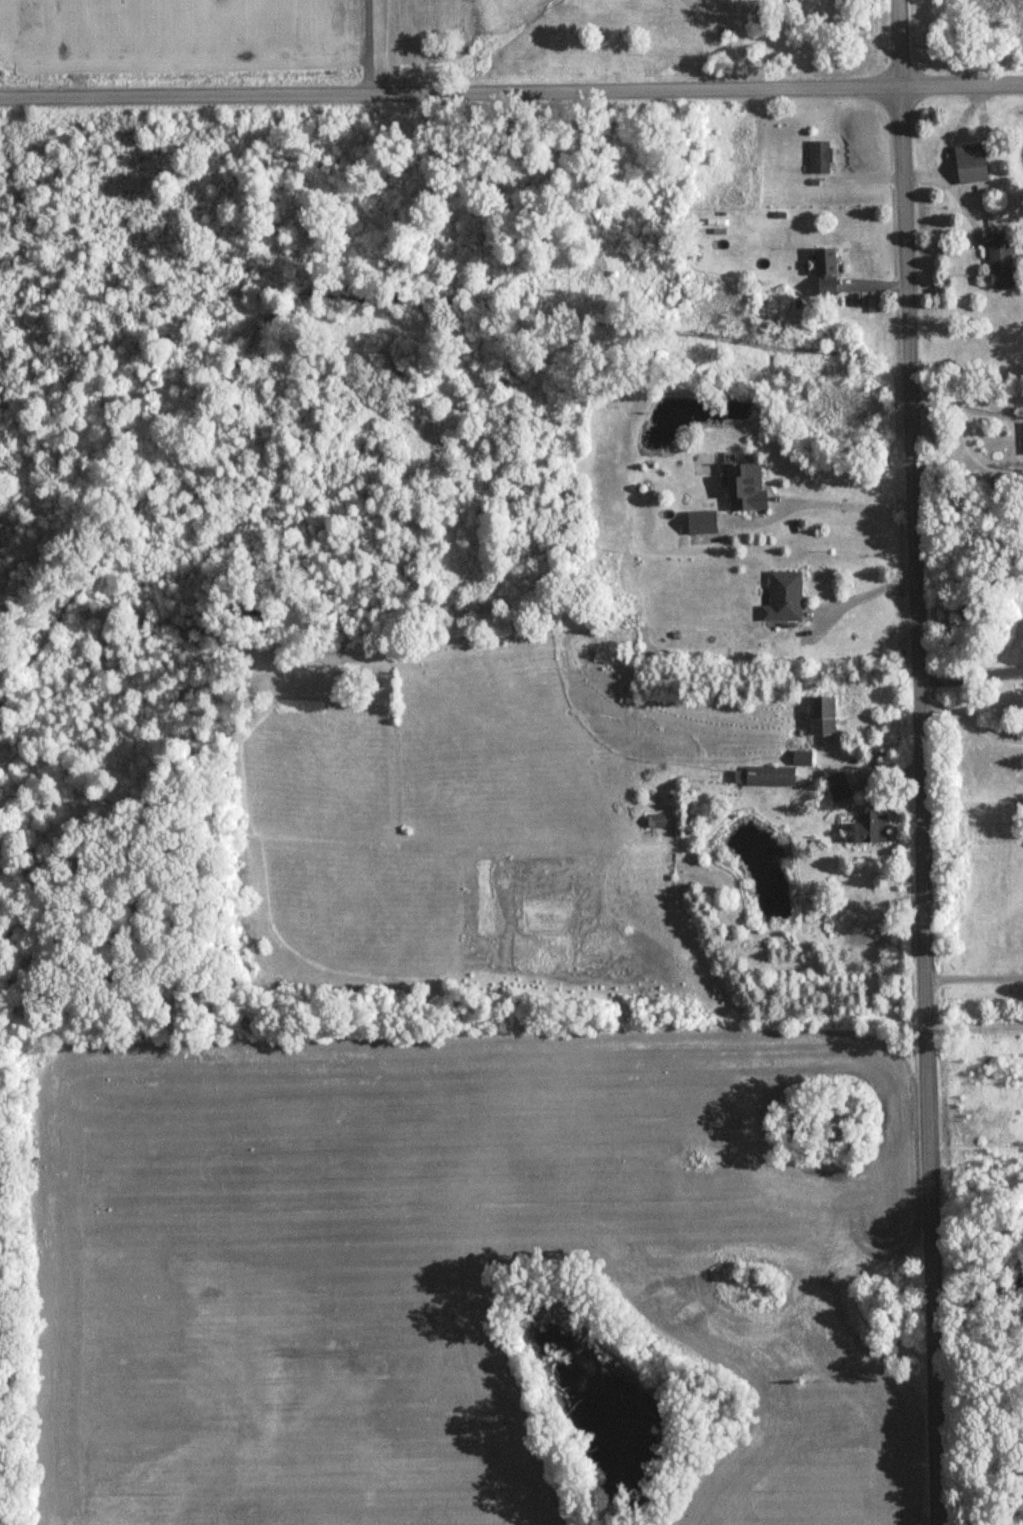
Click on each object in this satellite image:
road: (393, 46)
road: (511, 91)
building: (819, 159)
building: (969, 165)
road: (950, 180)
building: (1000, 266)
building: (824, 273)
road: (960, 405)
building: (1022, 440)
building: (743, 490)
road: (846, 499)
building: (699, 524)
road: (858, 592)
building: (782, 599)
road: (967, 671)
road: (967, 716)
building: (819, 717)
building: (800, 759)
road: (914, 762)
building: (768, 778)
building: (836, 788)
building: (656, 823)
building: (867, 829)
road: (972, 978)
road: (973, 1025)

